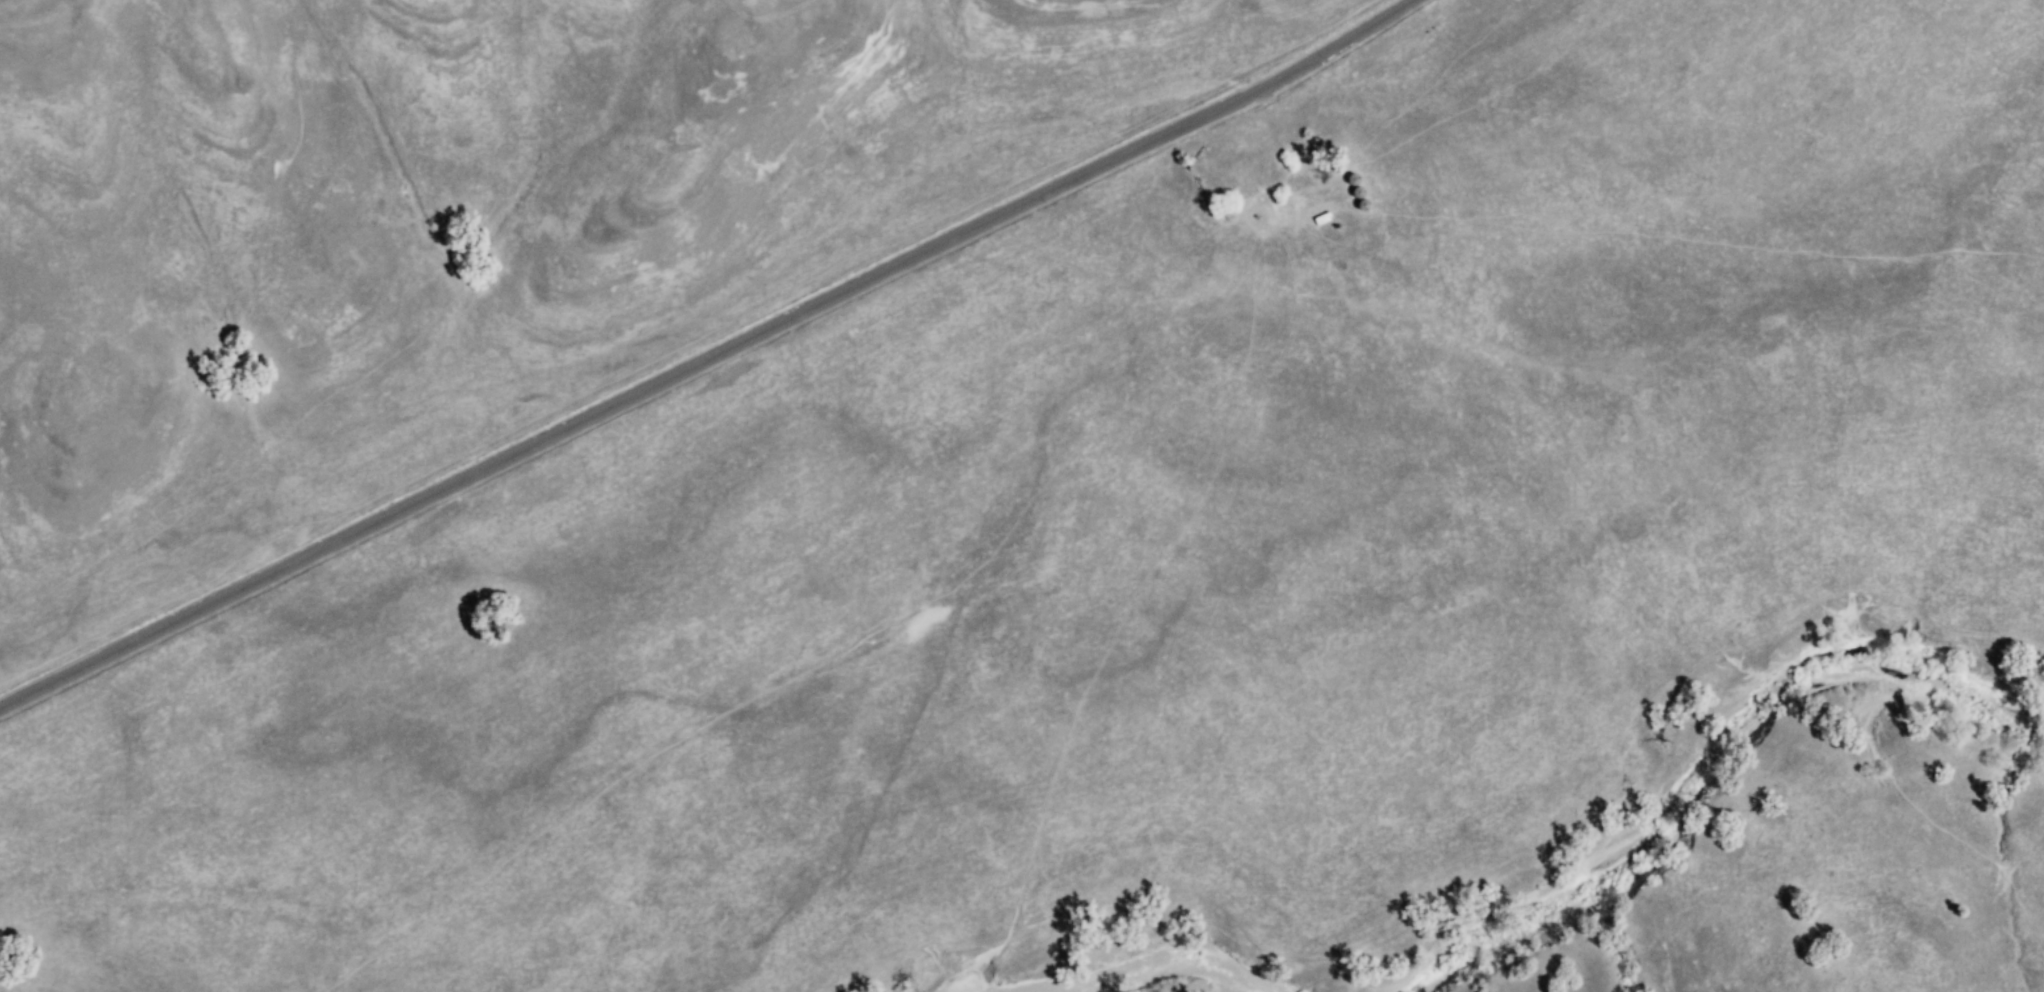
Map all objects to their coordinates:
road: (707, 359)
river: (1713, 758)
river: (1151, 971)

